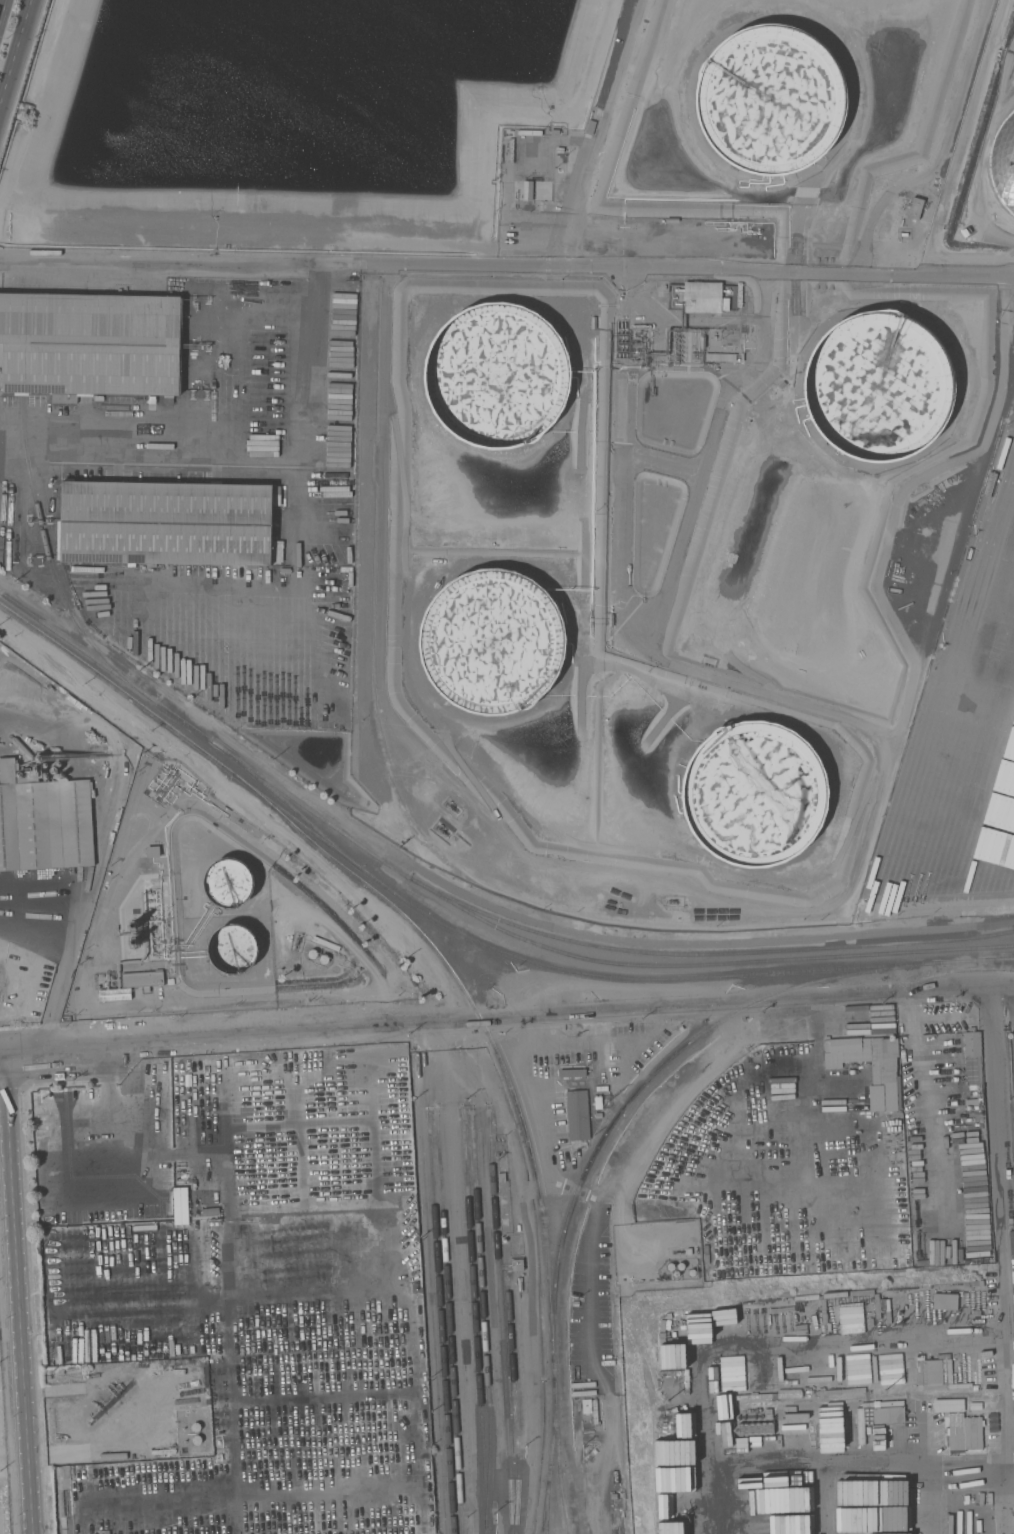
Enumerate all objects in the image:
road: (2, 9)
road: (15, 52)
building: (770, 99)
building: (1003, 162)
building: (527, 190)
building: (915, 208)
road: (507, 262)
building: (703, 297)
road: (272, 314)
building: (90, 343)
building: (496, 375)
building: (878, 386)
building: (64, 398)
road: (300, 462)
building: (1005, 467)
building: (168, 523)
road: (380, 530)
railway: (51, 562)
building: (999, 604)
building: (491, 641)
railway: (126, 692)
building: (22, 748)
building: (972, 767)
road: (120, 776)
building: (754, 793)
railway: (285, 801)
building: (43, 822)
building: (152, 851)
building: (228, 883)
railway: (463, 908)
road: (40, 915)
building: (232, 949)
building: (310, 952)
railway: (707, 956)
railway: (973, 959)
railway: (1000, 959)
railway: (565, 969)
building: (142, 979)
road: (58, 993)
building: (114, 994)
road: (508, 1022)
building: (972, 1056)
road: (2, 1057)
building: (782, 1063)
building: (572, 1073)
railway: (652, 1073)
building: (882, 1074)
railway: (519, 1109)
building: (577, 1114)
road: (122, 1150)
building: (501, 1177)
building: (179, 1205)
building: (503, 1210)
building: (382, 1217)
road: (998, 1218)
building: (226, 1224)
building: (238, 1254)
building: (517, 1265)
building: (670, 1266)
building: (680, 1266)
building: (212, 1272)
building: (691, 1272)
building: (675, 1273)
road: (233, 1275)
building: (519, 1283)
road: (18, 1295)
railway: (477, 1321)
railway: (503, 1322)
railway: (485, 1323)
railway: (443, 1324)
railway: (451, 1324)
building: (944, 1371)
building: (586, 1405)
railway: (516, 1406)
building: (595, 1411)
building: (888, 1414)
building: (417, 1425)
building: (826, 1425)
building: (195, 1426)
building: (964, 1432)
building: (196, 1439)
building: (298, 1450)
power substation: (5, 1451)
railway: (552, 1455)
railway: (565, 1499)
railway: (548, 1507)

